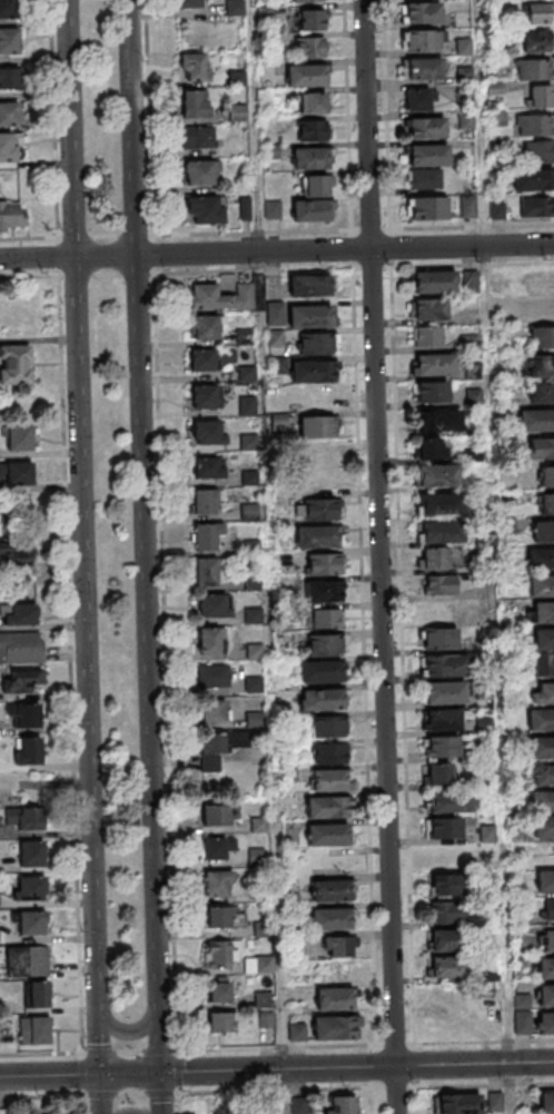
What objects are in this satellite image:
building: (307, 0)
building: (189, 4)
building: (234, 7)
building: (8, 10)
building: (423, 14)
building: (538, 14)
building: (310, 20)
building: (536, 40)
building: (9, 41)
building: (423, 42)
building: (309, 47)
building: (464, 48)
building: (195, 66)
building: (534, 68)
building: (425, 70)
building: (465, 76)
building: (305, 77)
building: (9, 78)
building: (542, 98)
building: (417, 99)
building: (311, 102)
building: (195, 105)
building: (9, 115)
road: (386, 115)
road: (149, 118)
road: (55, 119)
building: (497, 119)
building: (466, 120)
building: (534, 124)
building: (311, 129)
building: (427, 129)
building: (197, 137)
building: (7, 149)
building: (538, 150)
building: (429, 157)
building: (310, 160)
building: (200, 174)
building: (425, 178)
building: (533, 179)
building: (316, 185)
road: (258, 189)
building: (467, 207)
building: (536, 207)
building: (273, 208)
building: (204, 209)
building: (429, 209)
building: (311, 210)
building: (11, 215)
road: (353, 230)
road: (106, 238)
road: (29, 239)
road: (276, 250)
road: (354, 269)
road: (107, 275)
road: (30, 277)
building: (434, 284)
building: (540, 284)
building: (311, 287)
building: (224, 298)
building: (431, 310)
building: (535, 312)
building: (276, 315)
building: (310, 318)
building: (205, 328)
building: (246, 337)
building: (428, 337)
building: (277, 338)
building: (544, 339)
building: (471, 344)
building: (319, 345)
building: (211, 359)
building: (14, 364)
building: (279, 366)
building: (436, 367)
building: (542, 368)
building: (314, 373)
building: (473, 373)
building: (248, 375)
building: (278, 394)
building: (431, 394)
building: (542, 395)
building: (205, 398)
building: (316, 398)
building: (475, 398)
building: (248, 407)
building: (280, 423)
building: (438, 423)
building: (536, 423)
building: (318, 428)
building: (209, 435)
building: (20, 440)
building: (249, 444)
building: (540, 447)
building: (429, 448)
building: (319, 456)
building: (209, 471)
building: (20, 476)
building: (439, 476)
building: (547, 479)
building: (251, 480)
building: (206, 503)
building: (441, 506)
building: (547, 506)
building: (18, 507)
building: (250, 512)
building: (323, 512)
road: (362, 522)
building: (508, 526)
building: (442, 533)
building: (544, 533)
building: (208, 538)
building: (318, 539)
building: (14, 548)
building: (254, 549)
road: (86, 556)
road: (144, 556)
road: (383, 556)
road: (494, 556)
building: (433, 558)
building: (542, 561)
building: (327, 566)
building: (208, 574)
building: (254, 584)
building: (439, 584)
building: (542, 589)
building: (325, 594)
building: (214, 609)
building: (18, 614)
building: (544, 615)
building: (255, 618)
building: (325, 619)
building: (441, 638)
building: (544, 642)
building: (210, 643)
building: (22, 649)
building: (327, 649)
building: (256, 652)
building: (484, 662)
building: (545, 667)
building: (446, 668)
building: (321, 674)
building: (215, 678)
building: (23, 679)
building: (255, 686)
road: (168, 694)
building: (446, 696)
building: (545, 696)
building: (324, 702)
road: (405, 706)
building: (212, 711)
building: (29, 719)
building: (257, 721)
building: (445, 721)
building: (541, 722)
building: (485, 727)
building: (330, 729)
building: (217, 749)
building: (442, 749)
building: (542, 750)
building: (29, 752)
building: (486, 753)
building: (333, 757)
building: (515, 773)
building: (289, 775)
building: (439, 777)
building: (545, 778)
building: (330, 782)
building: (452, 804)
building: (543, 804)
building: (328, 810)
building: (23, 817)
building: (221, 817)
building: (518, 824)
building: (260, 826)
building: (544, 829)
building: (446, 831)
building: (488, 835)
building: (329, 837)
building: (219, 850)
building: (32, 856)
building: (258, 857)
building: (453, 859)
building: (546, 884)
building: (218, 886)
building: (453, 887)
building: (32, 891)
building: (333, 893)
road: (278, 898)
building: (0, 905)
building: (546, 908)
building: (446, 911)
building: (224, 917)
building: (333, 921)
building: (32, 926)
building: (265, 930)
building: (547, 943)
building: (452, 944)
building: (339, 946)
building: (220, 955)
building: (27, 960)
building: (267, 966)
building: (451, 970)
building: (547, 970)
building: (219, 989)
building: (38, 994)
building: (547, 999)
building: (264, 1000)
building: (336, 1002)
building: (522, 1014)
building: (266, 1018)
building: (221, 1022)
building: (547, 1026)
building: (337, 1031)
building: (36, 1034)
road: (125, 1034)
building: (298, 1034)
road: (387, 1046)
road: (276, 1071)
traffic signals: (161, 1074)
traffic signals: (101, 1076)
road: (399, 1088)
building: (546, 1101)
building: (458, 1103)
building: (343, 1104)
building: (300, 1107)

